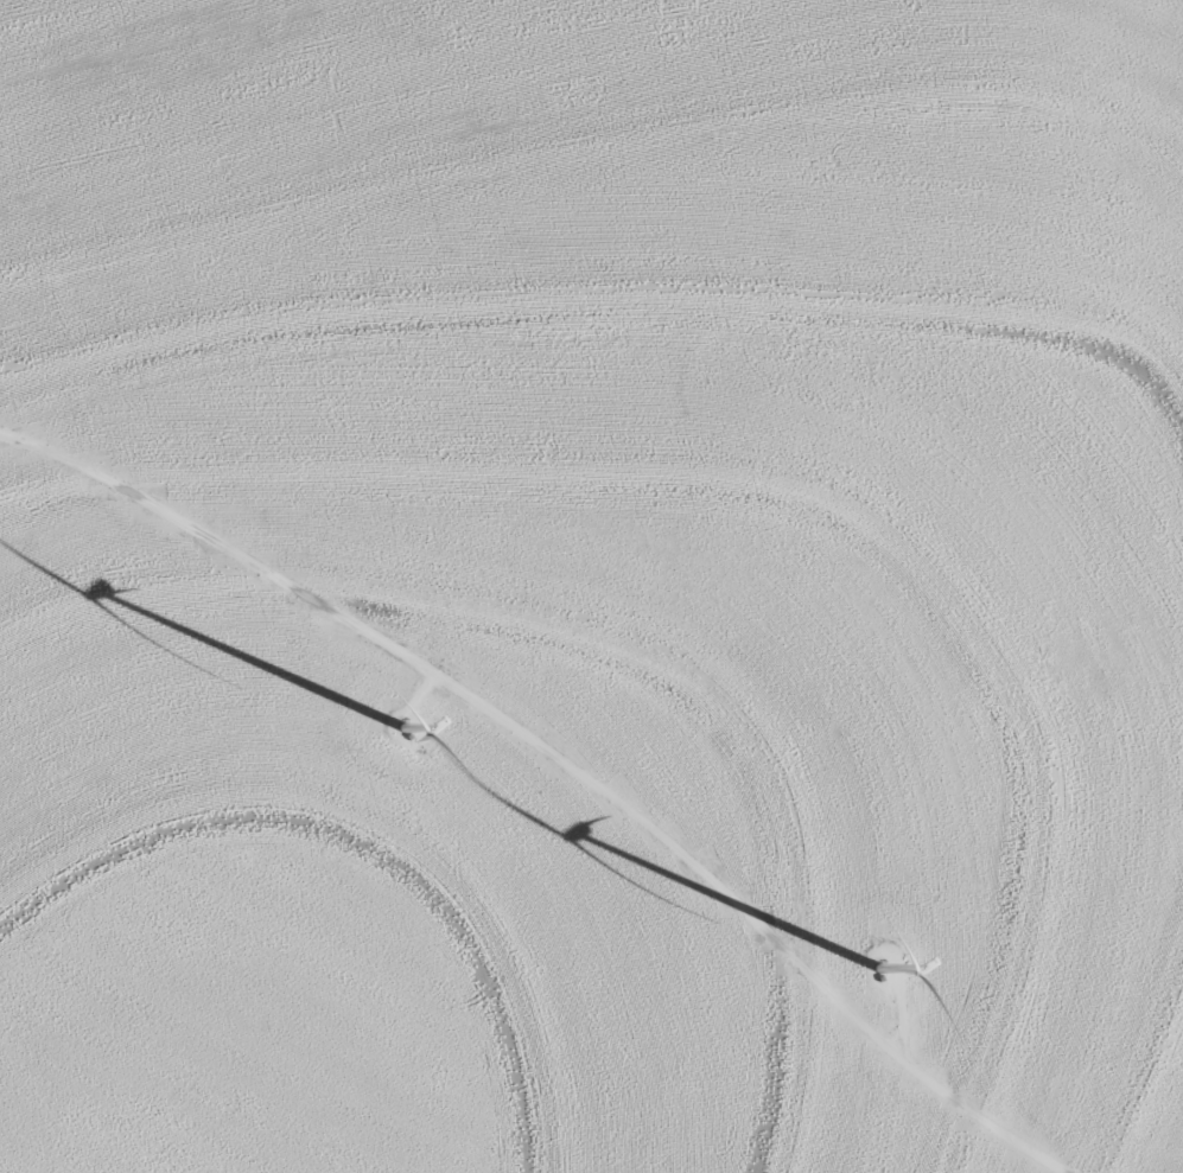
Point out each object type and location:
wind turbine: (401, 735)
wind turbine: (870, 967)

